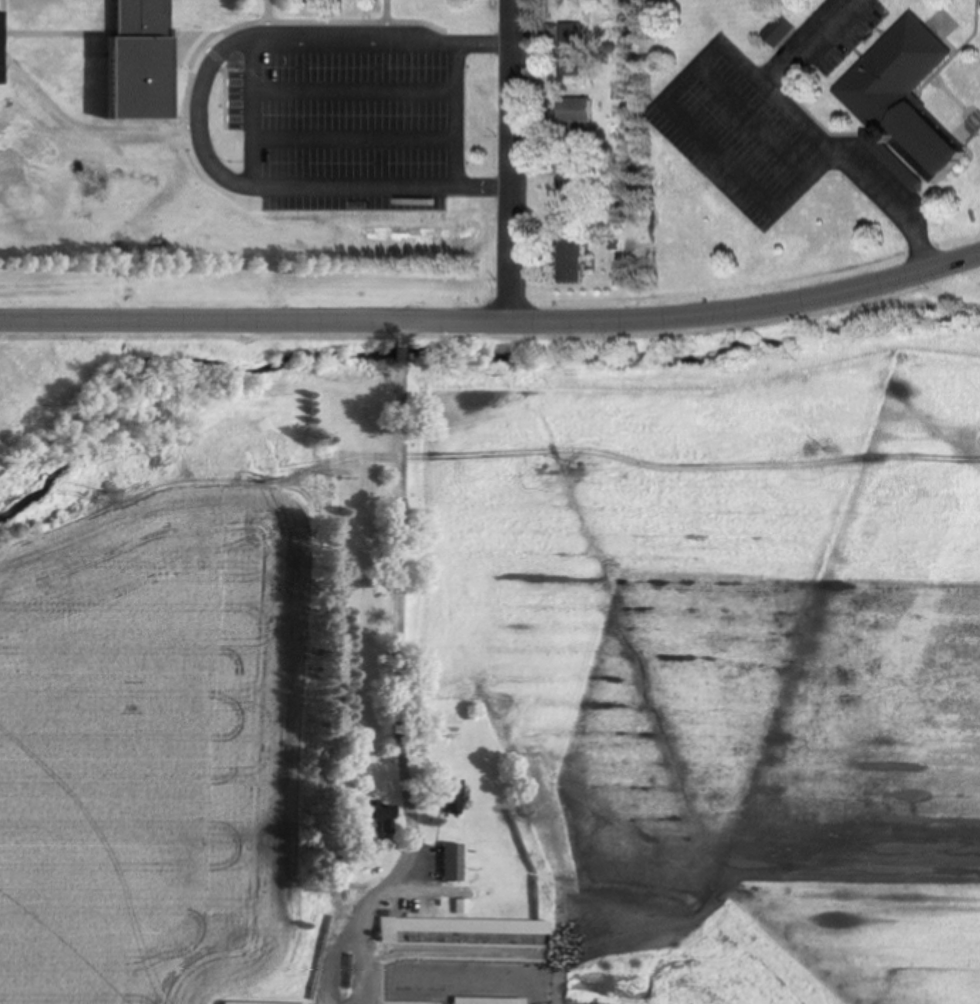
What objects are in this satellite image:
building: (572, 46)
road: (244, 76)
road: (415, 87)
building: (910, 101)
building: (582, 114)
road: (509, 160)
building: (573, 176)
building: (572, 256)
road: (887, 279)
road: (202, 318)
road: (651, 319)
road: (456, 320)
road: (404, 599)
crop: (724, 645)
crop: (163, 725)
building: (455, 862)
building: (464, 906)
building: (462, 926)
building: (263, 1003)

